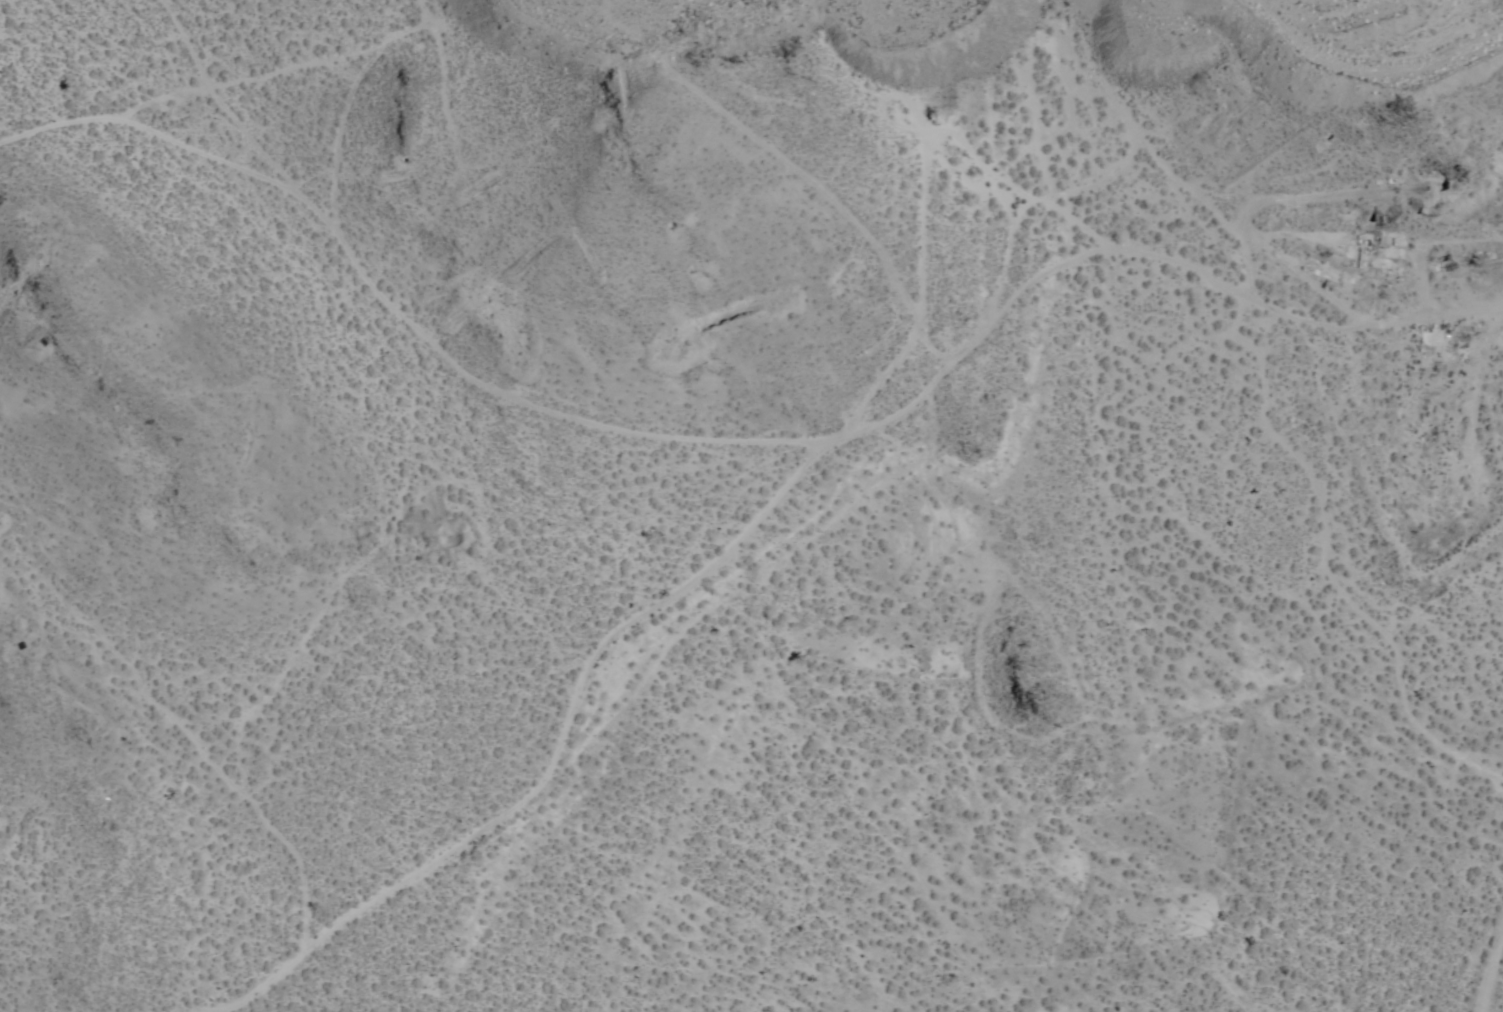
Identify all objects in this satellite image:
road: (736, 444)

